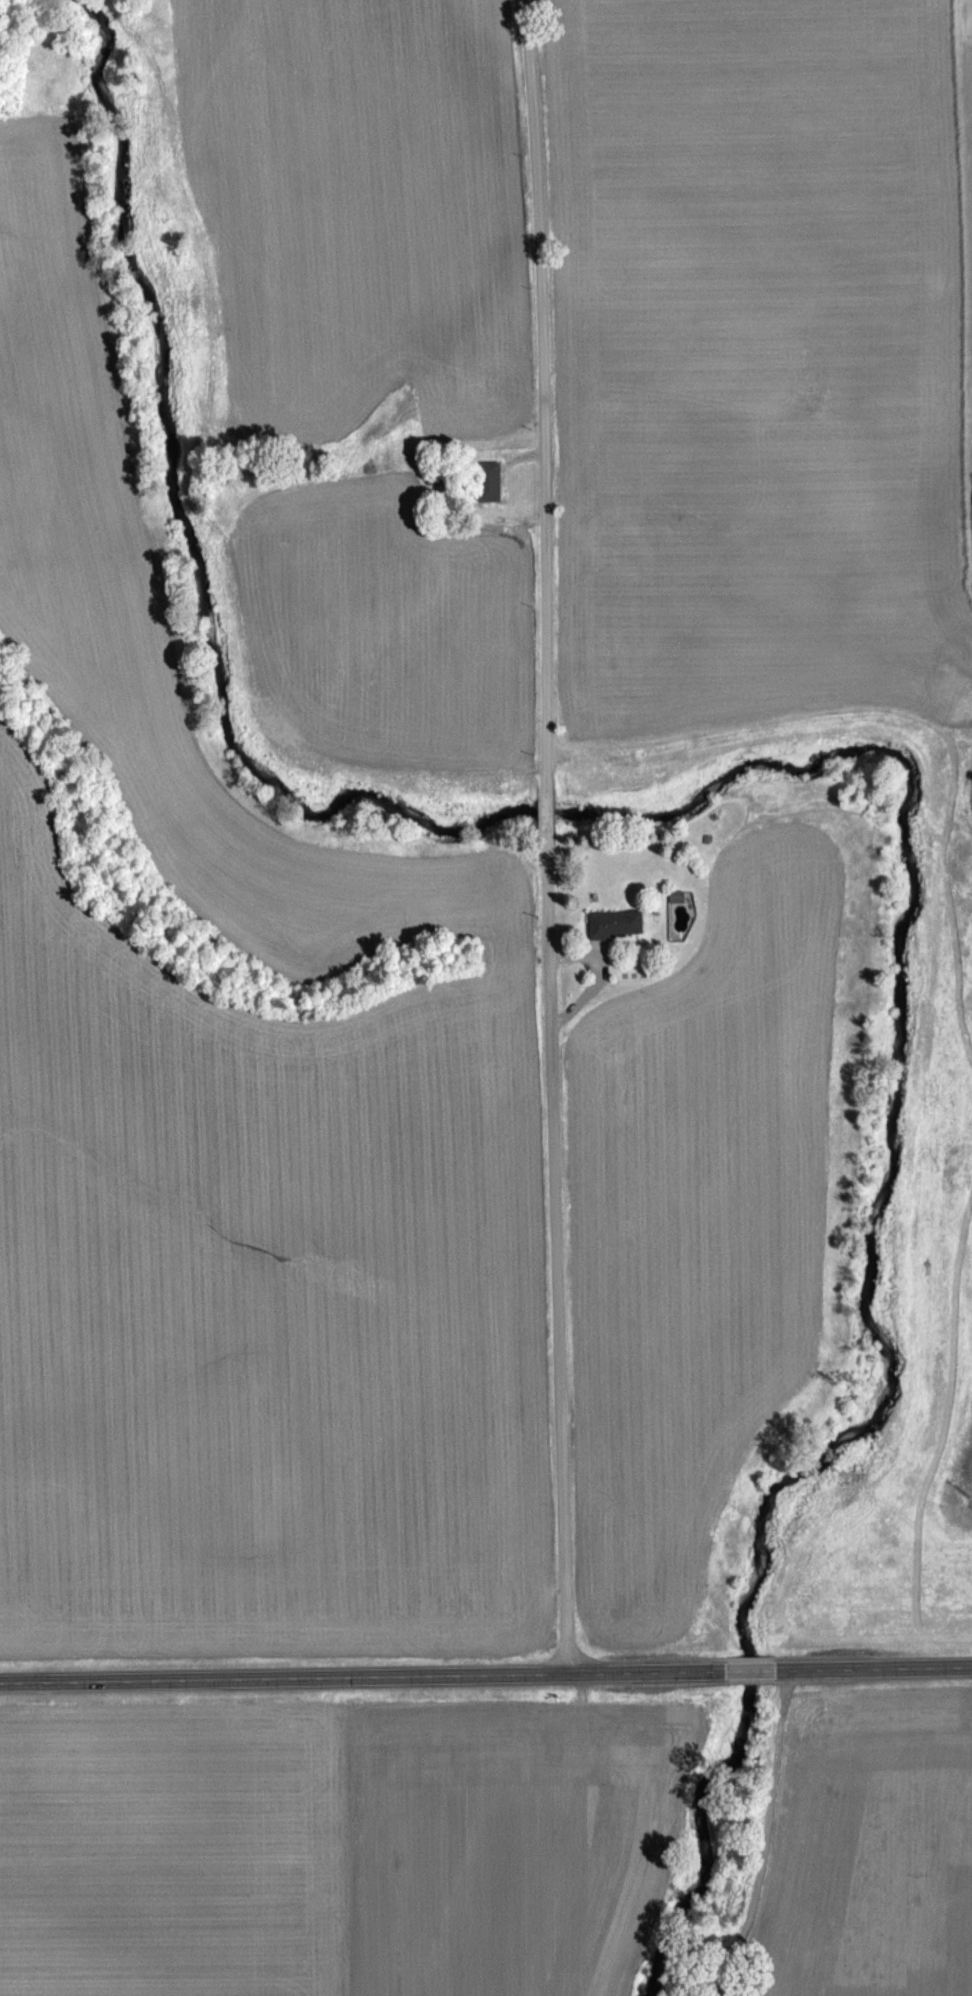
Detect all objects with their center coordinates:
building: (487, 481)
road: (553, 834)
building: (614, 925)
road: (607, 970)
road: (486, 1670)
road: (765, 1836)

